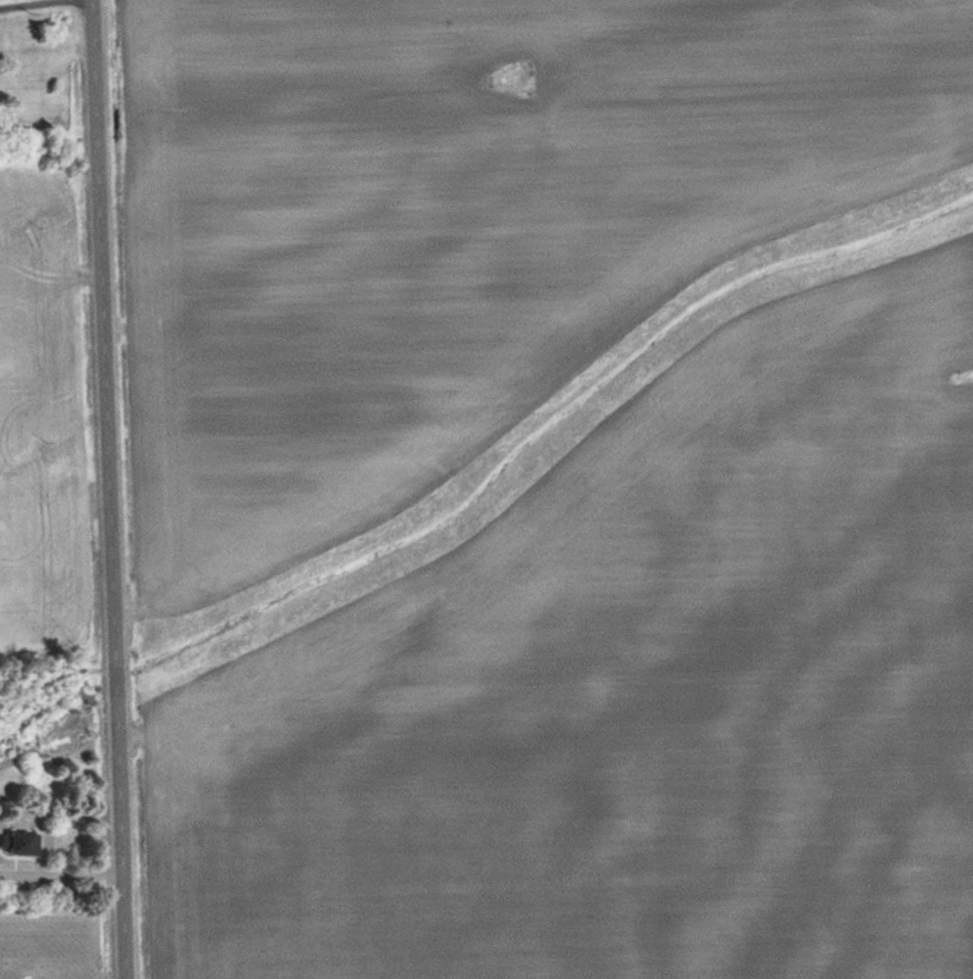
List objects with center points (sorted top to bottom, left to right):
road: (109, 489)
building: (24, 841)

